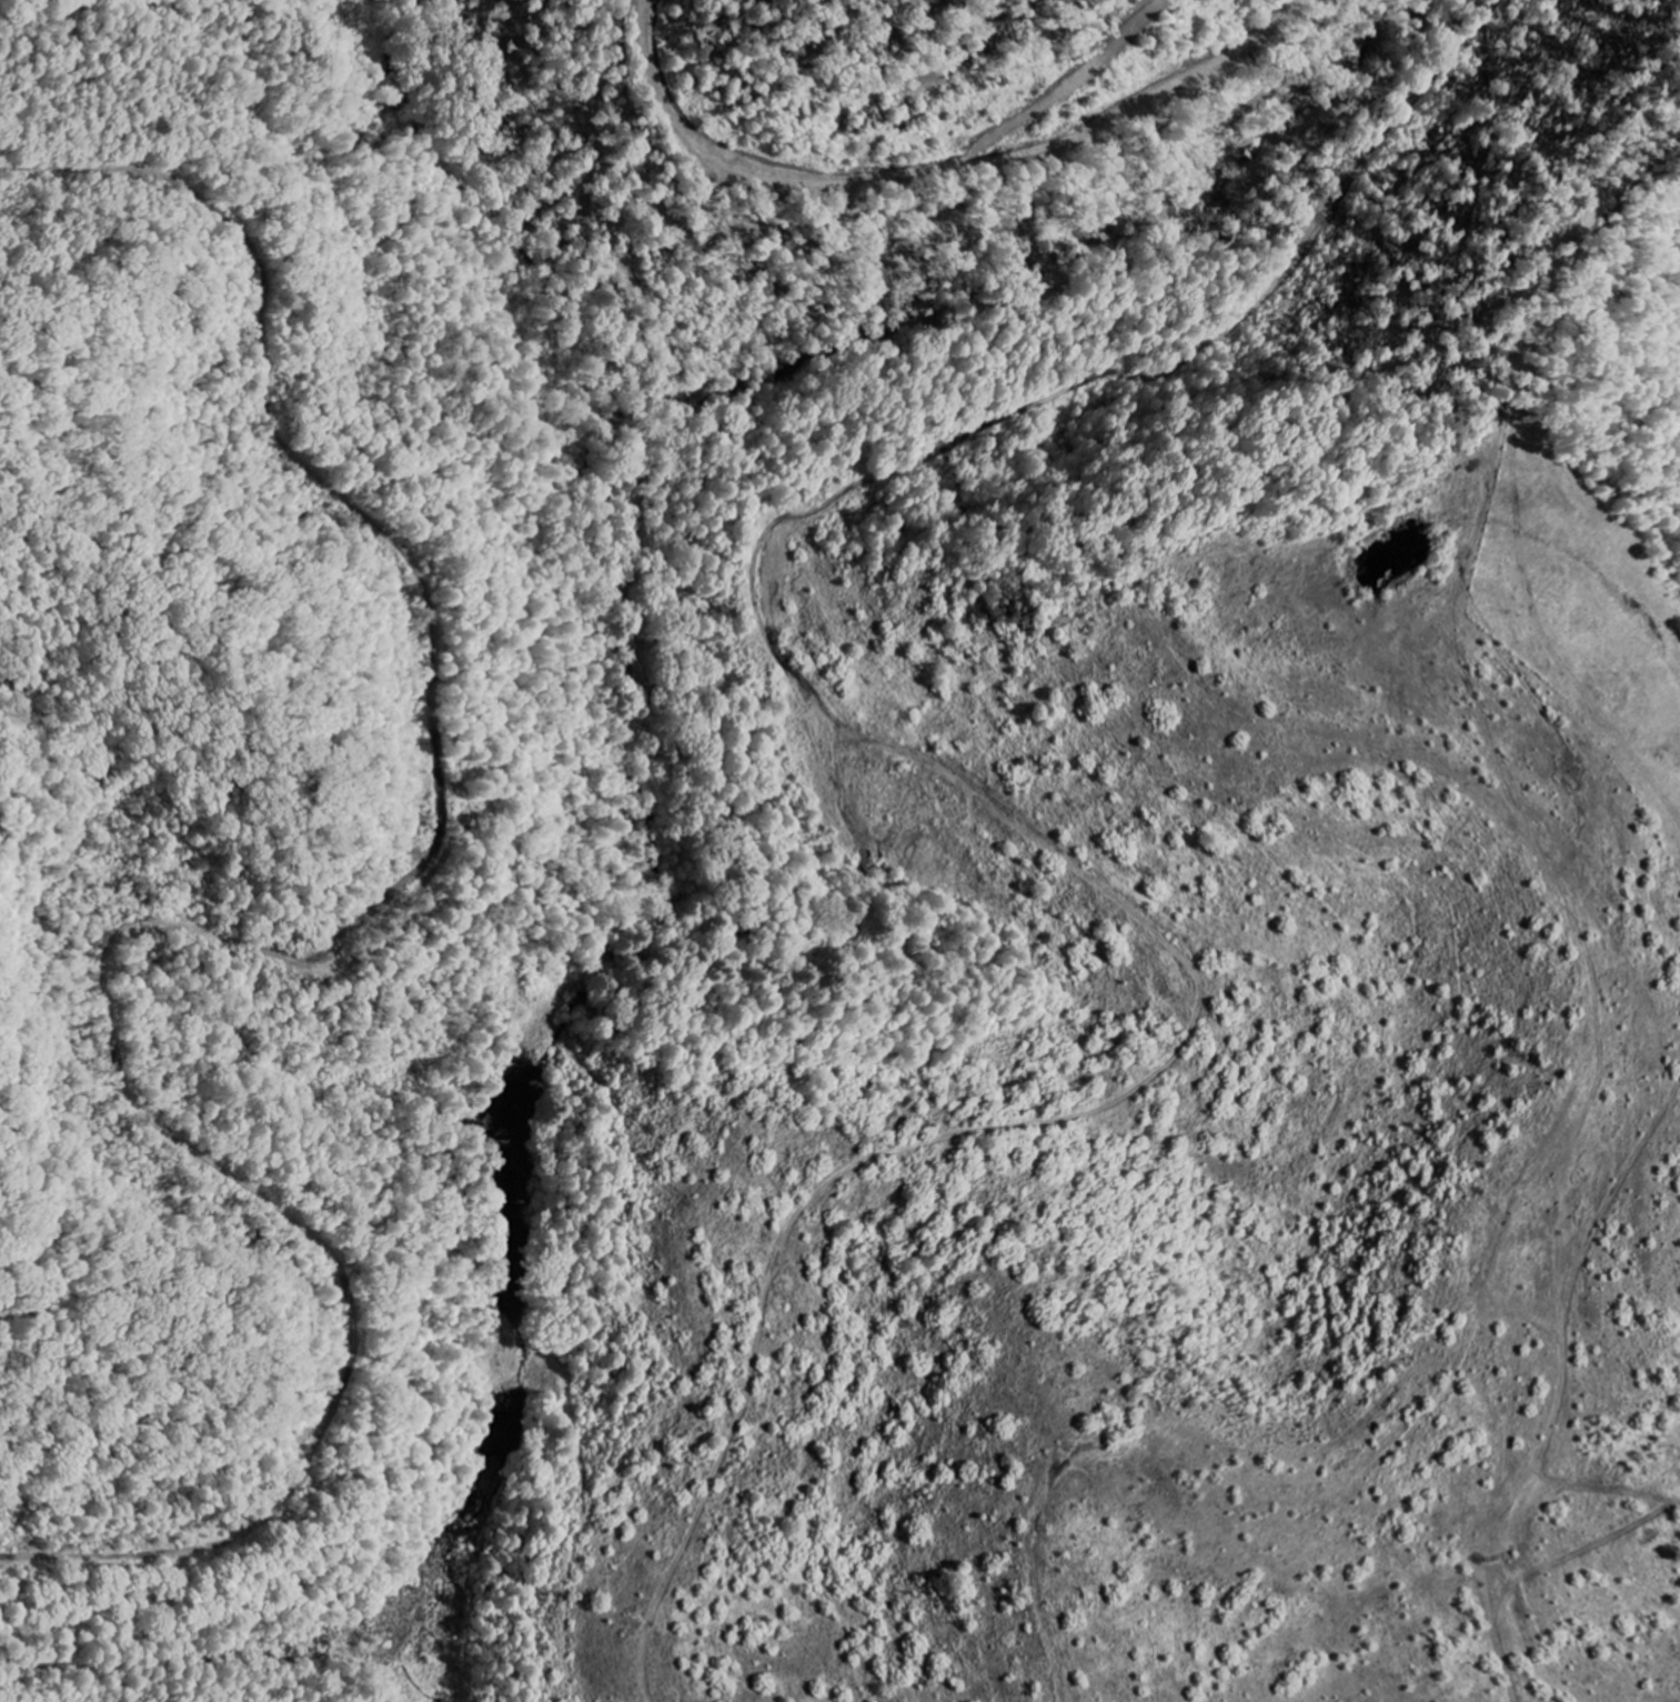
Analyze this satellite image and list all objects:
road: (366, 151)

